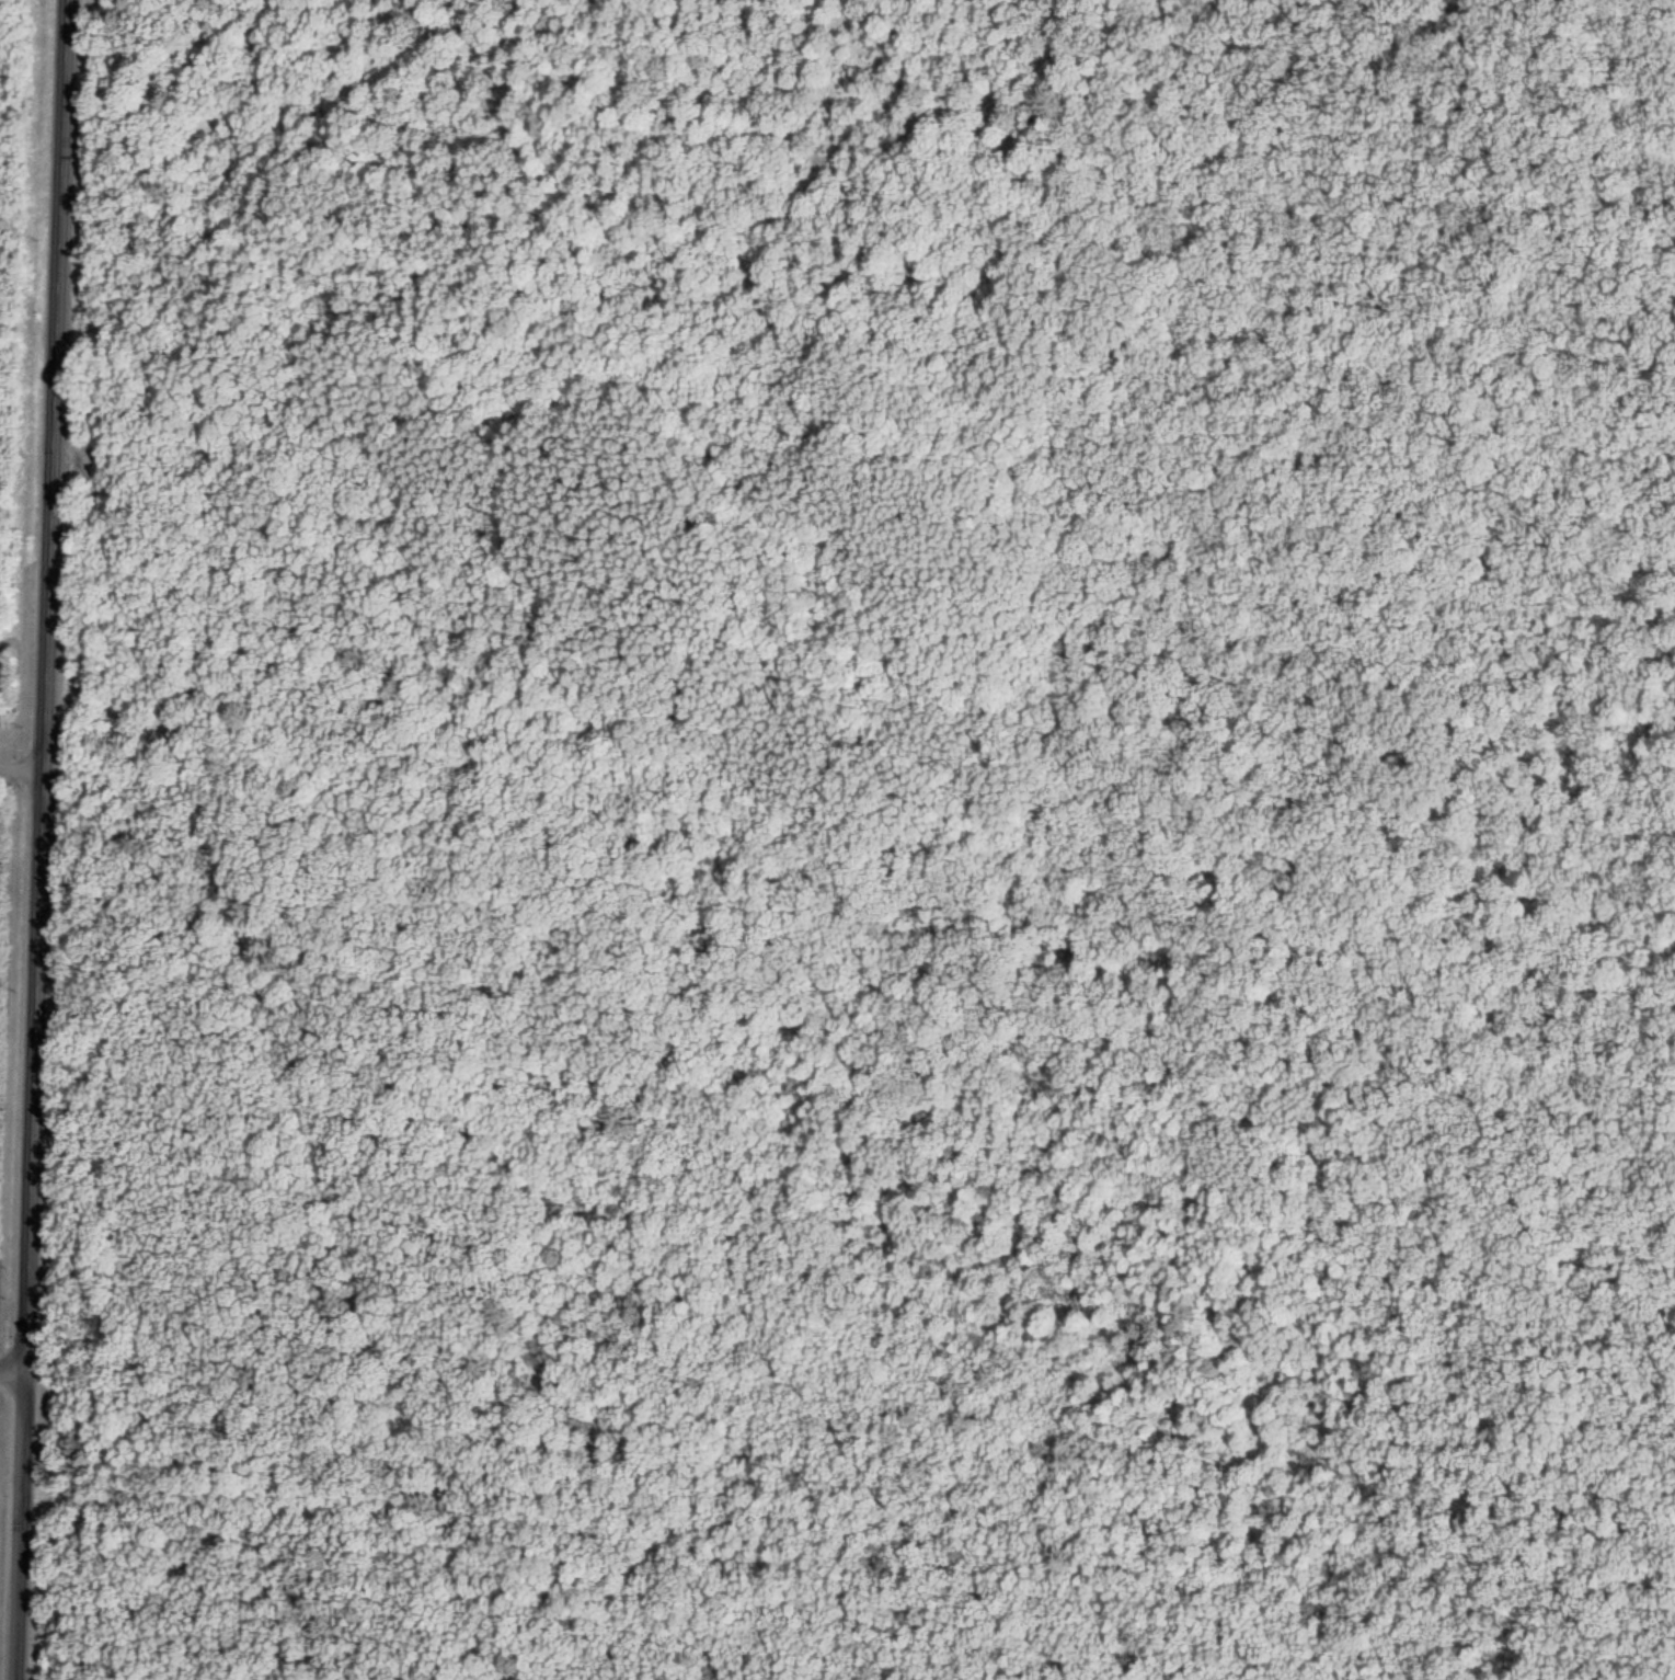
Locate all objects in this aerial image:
landfill: (7, 239)
road: (22, 768)
road: (43, 839)
road: (282, 1048)
road: (699, 1299)
road: (13, 1371)

